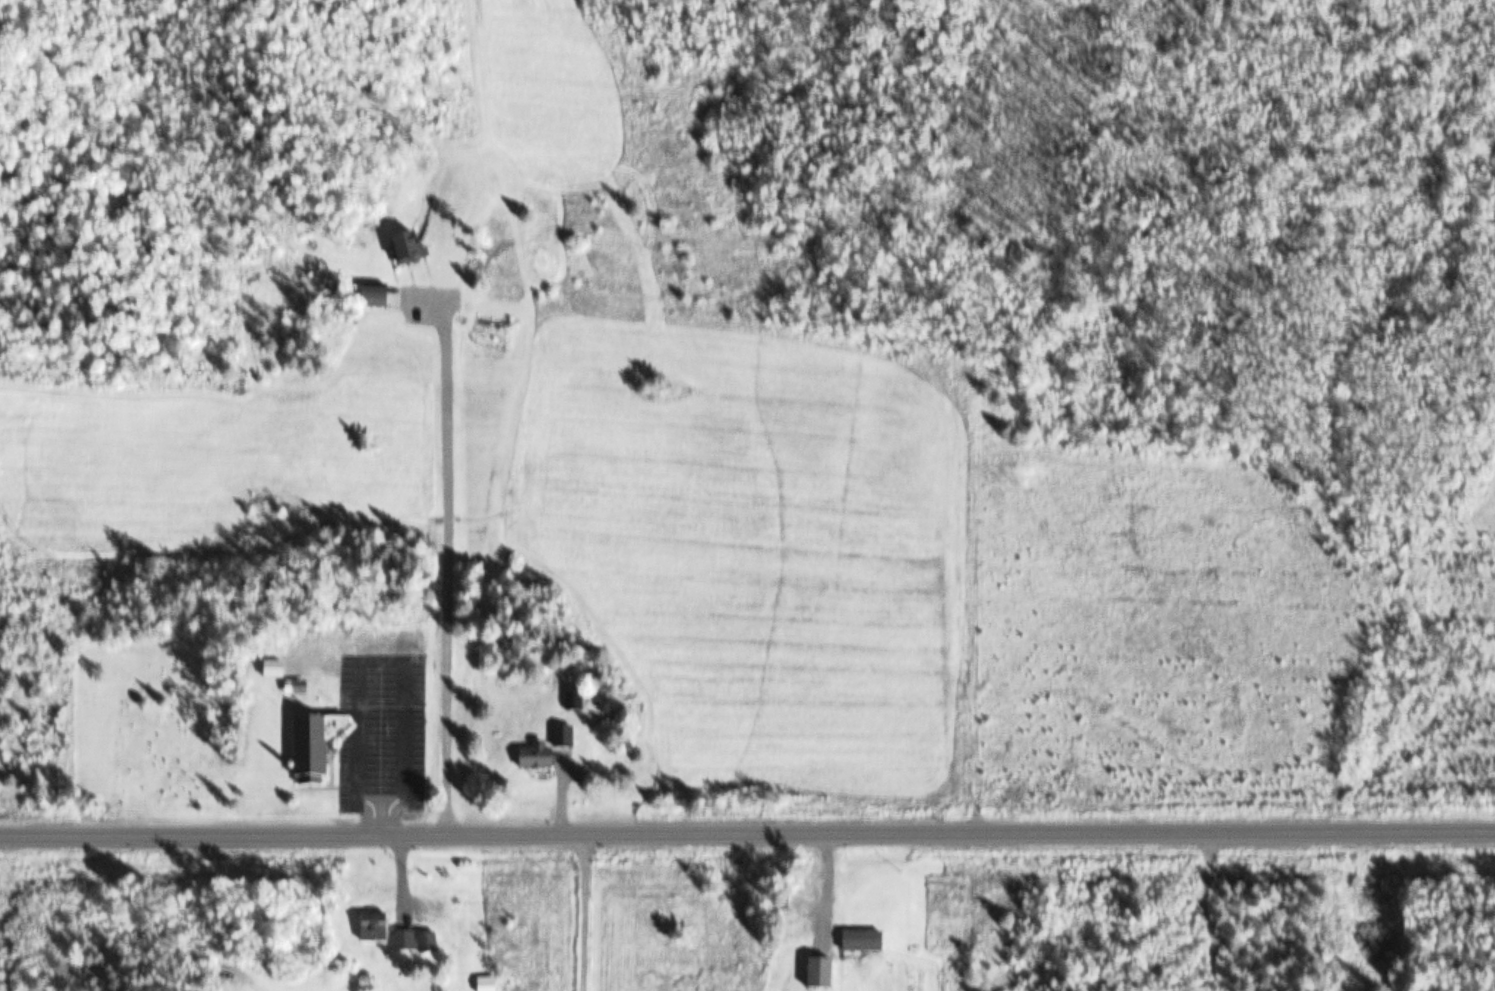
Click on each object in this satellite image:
building: (279, 669)
building: (300, 687)
building: (579, 700)
park: (157, 723)
building: (571, 735)
building: (321, 746)
building: (542, 758)
road: (747, 832)
building: (378, 927)
building: (420, 941)
building: (855, 942)
building: (811, 975)
building: (492, 983)

